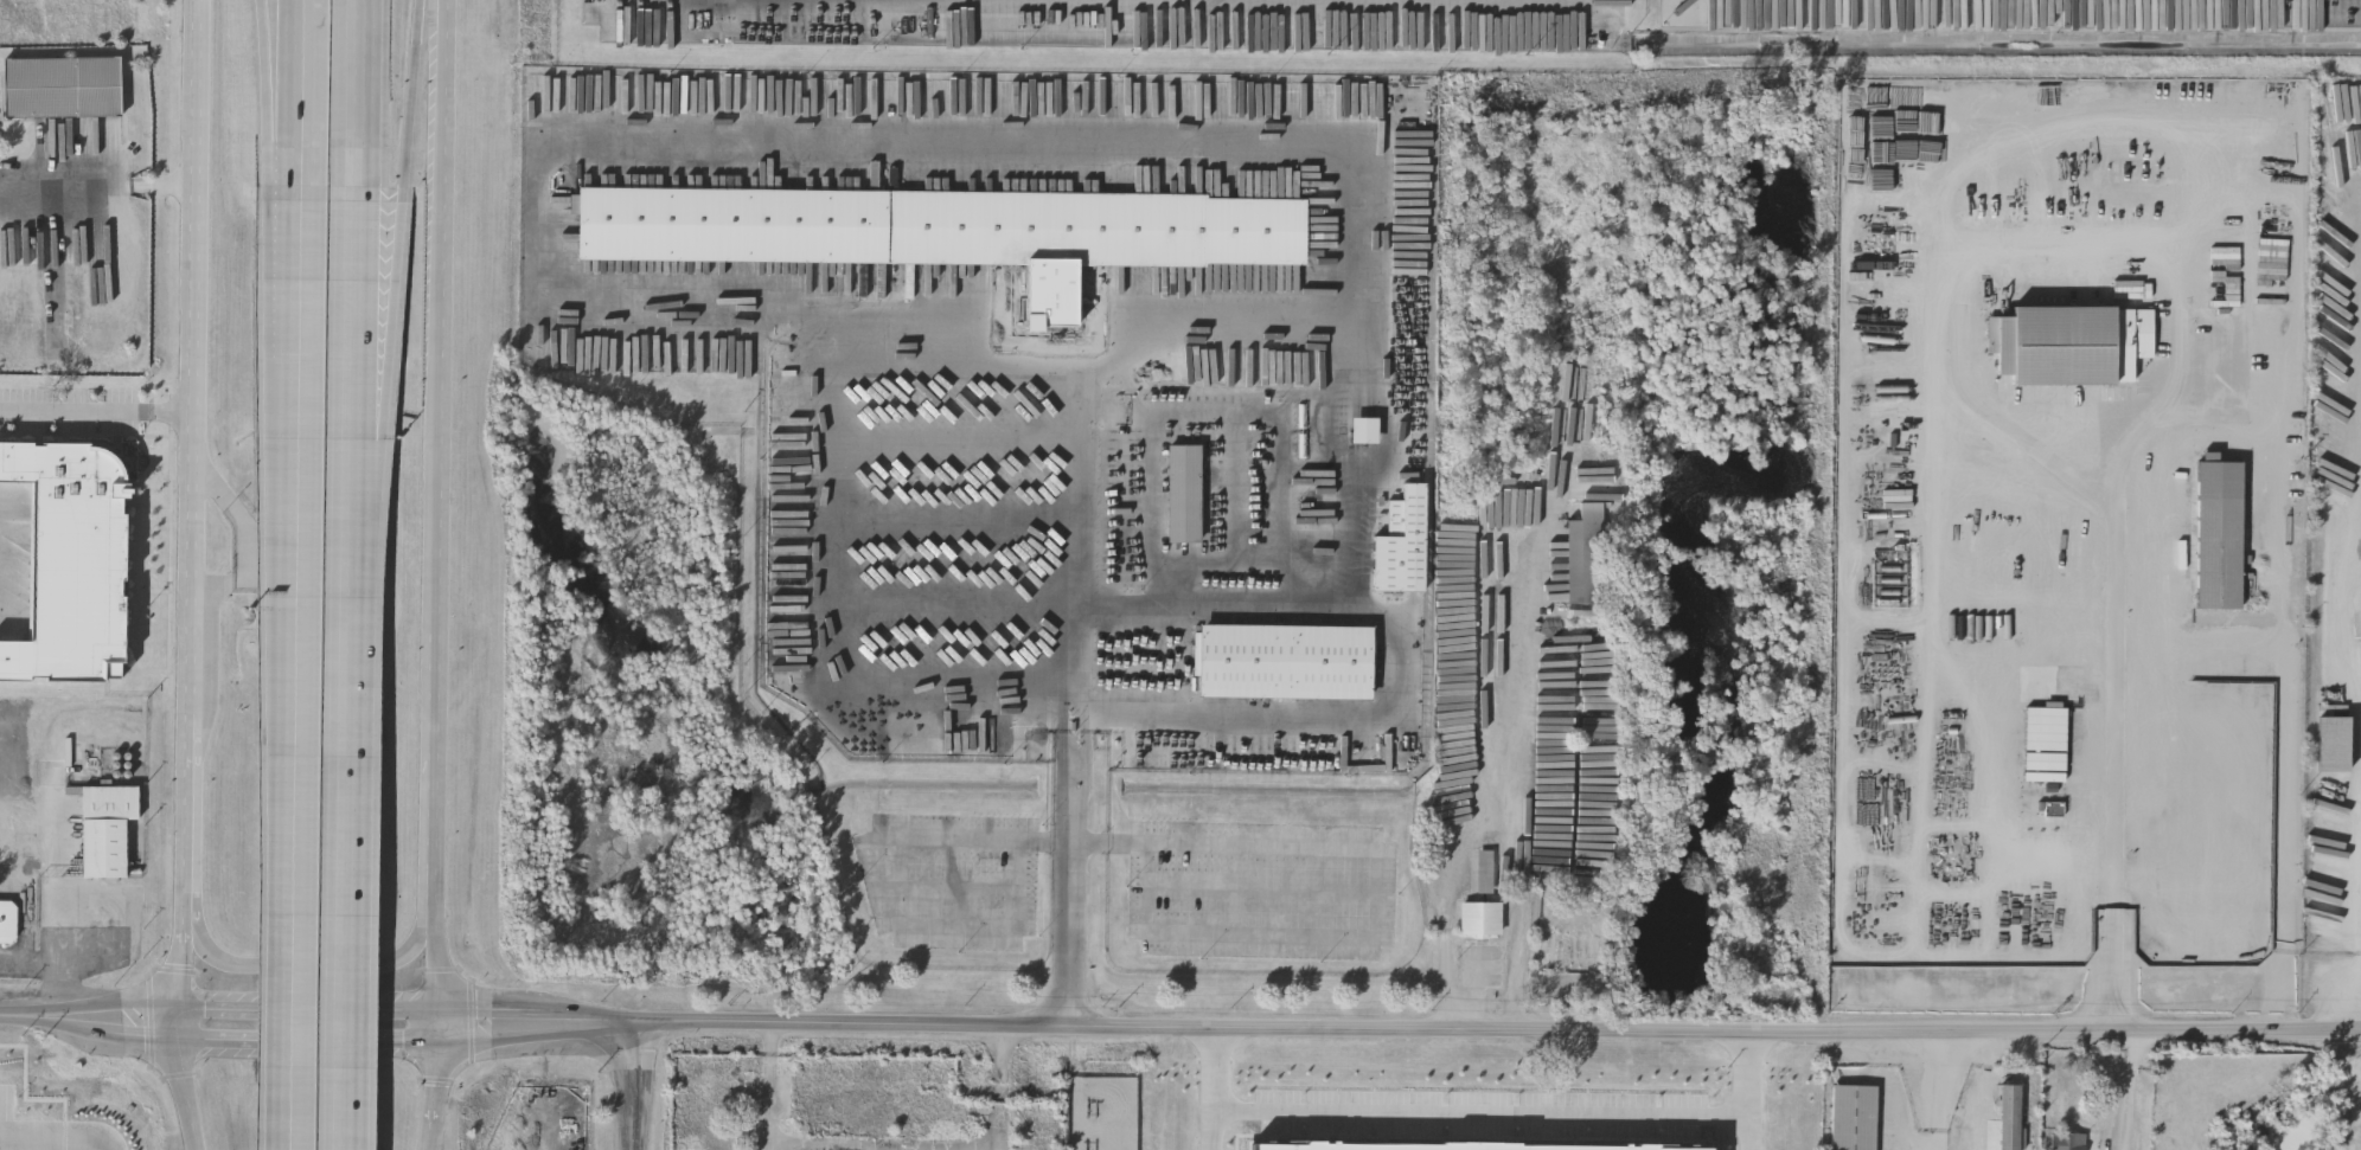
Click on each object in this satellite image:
building: (930, 21)
building: (64, 88)
road: (353, 94)
road: (416, 95)
road: (274, 104)
road: (299, 104)
building: (1861, 134)
road: (838, 141)
road: (98, 171)
building: (948, 233)
road: (297, 283)
road: (437, 317)
building: (56, 333)
building: (2071, 341)
road: (196, 360)
road: (357, 373)
road: (393, 375)
road: (97, 411)
building: (1365, 428)
building: (1185, 492)
building: (2219, 534)
building: (1403, 542)
building: (70, 557)
building: (1586, 558)
building: (1966, 579)
road: (1344, 600)
road: (827, 621)
building: (1287, 660)
road: (2113, 669)
building: (2065, 692)
road: (1071, 696)
building: (2219, 705)
road: (1309, 719)
building: (2334, 741)
road: (2297, 746)
road: (300, 753)
road: (436, 759)
road: (1514, 789)
road: (190, 816)
building: (104, 827)
road: (354, 854)
building: (2176, 870)
road: (892, 889)
building: (2231, 891)
road: (1380, 897)
road: (56, 918)
building: (7, 920)
building: (1480, 921)
road: (437, 963)
road: (324, 965)
road: (2114, 971)
road: (181, 975)
road: (634, 1022)
road: (1498, 1033)
road: (634, 1086)
road: (2130, 1092)
road: (1940, 1093)
road: (185, 1094)
road: (437, 1097)
building: (2010, 1118)
building: (1854, 1119)
road: (1490, 1122)
road: (1223, 1135)
road: (1759, 1137)
building: (1578, 1142)
building: (2068, 1143)

